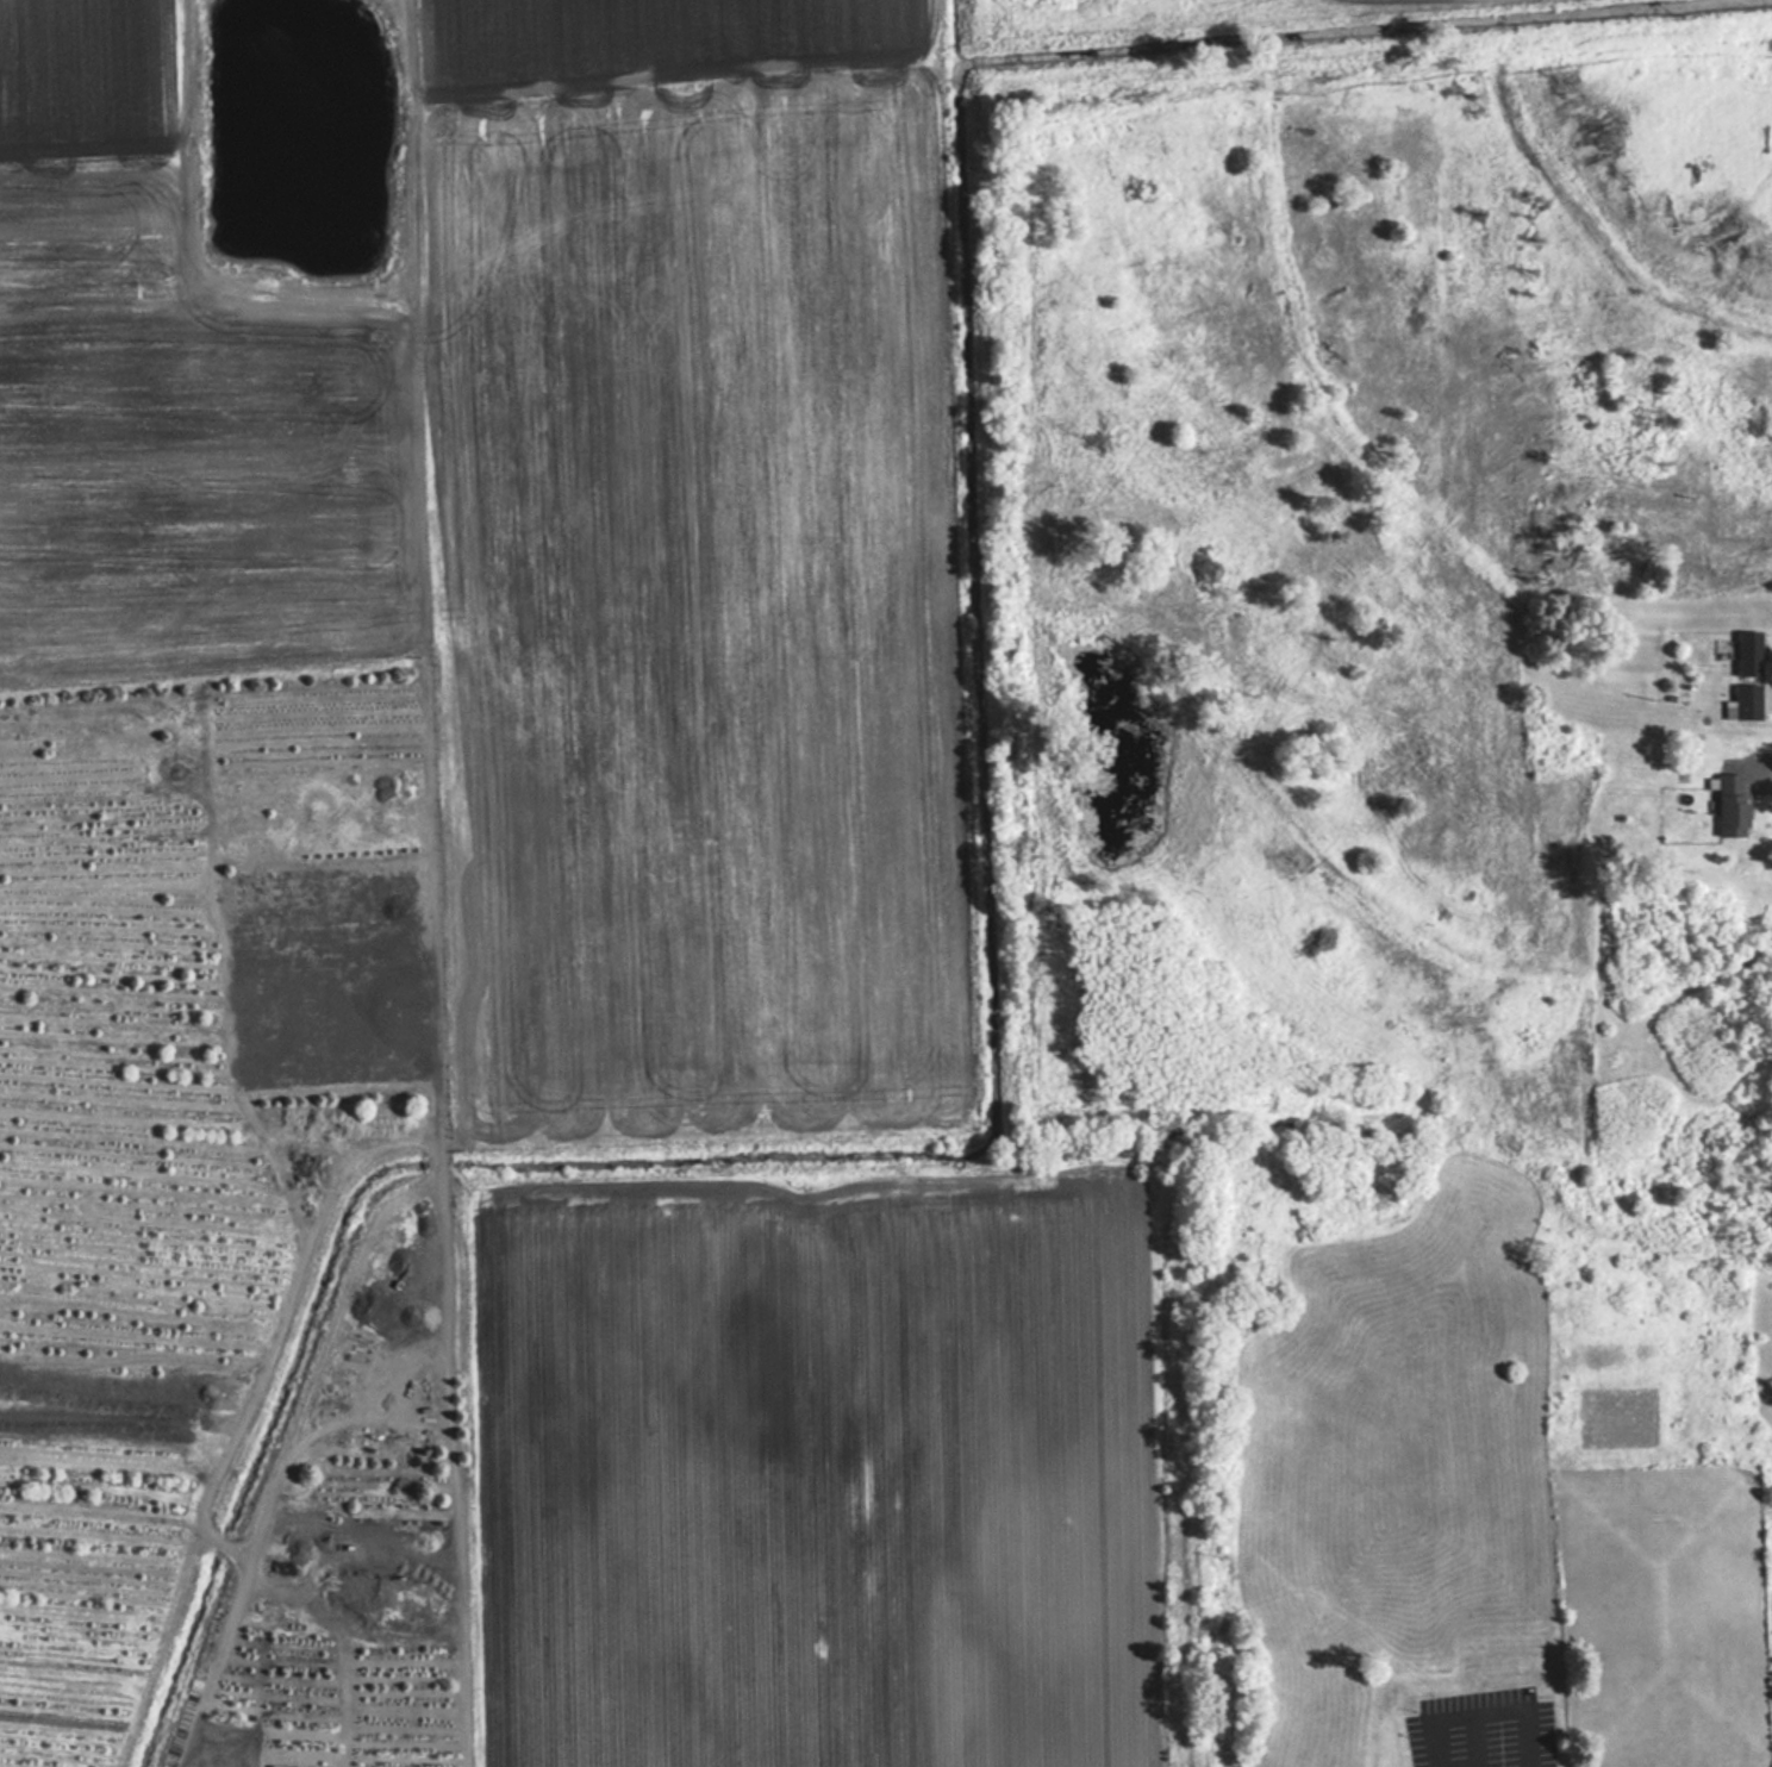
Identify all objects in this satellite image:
building: (1749, 653)
building: (1746, 701)
road: (1762, 775)
building: (1732, 806)
road: (1487, 1711)

